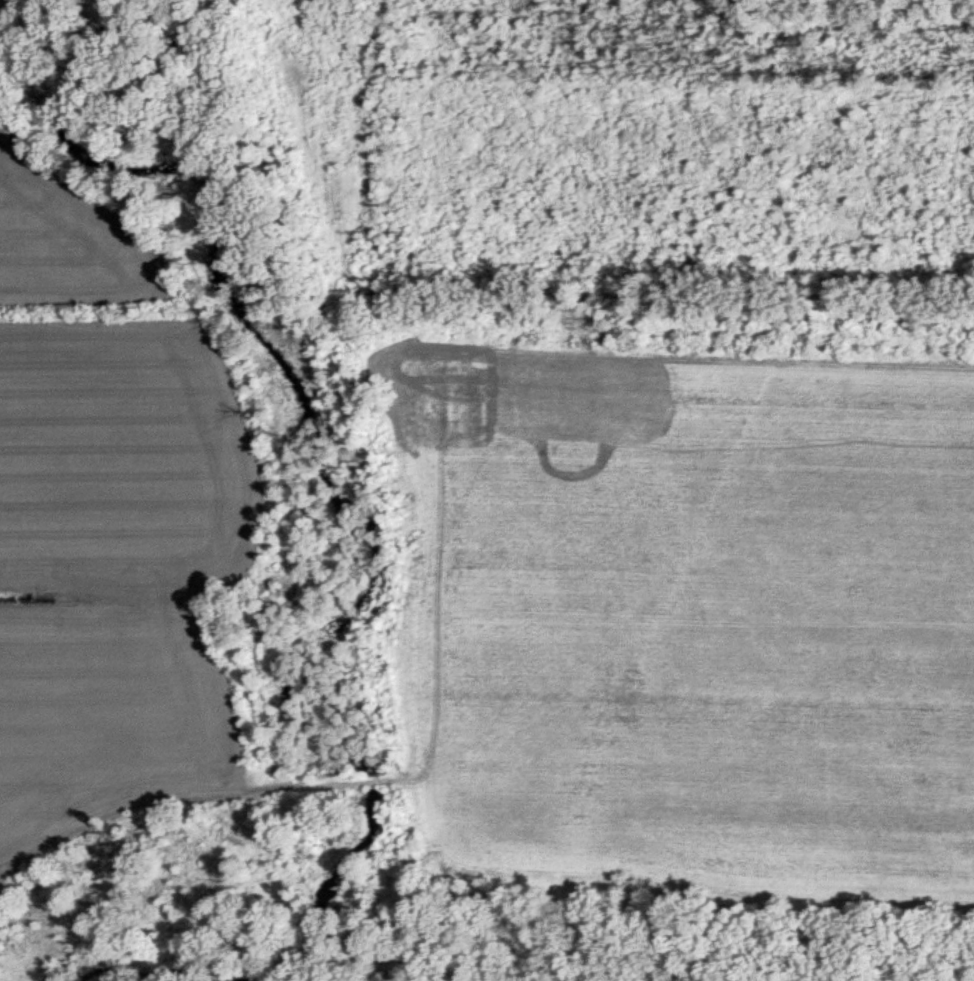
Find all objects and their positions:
road: (153, 799)

